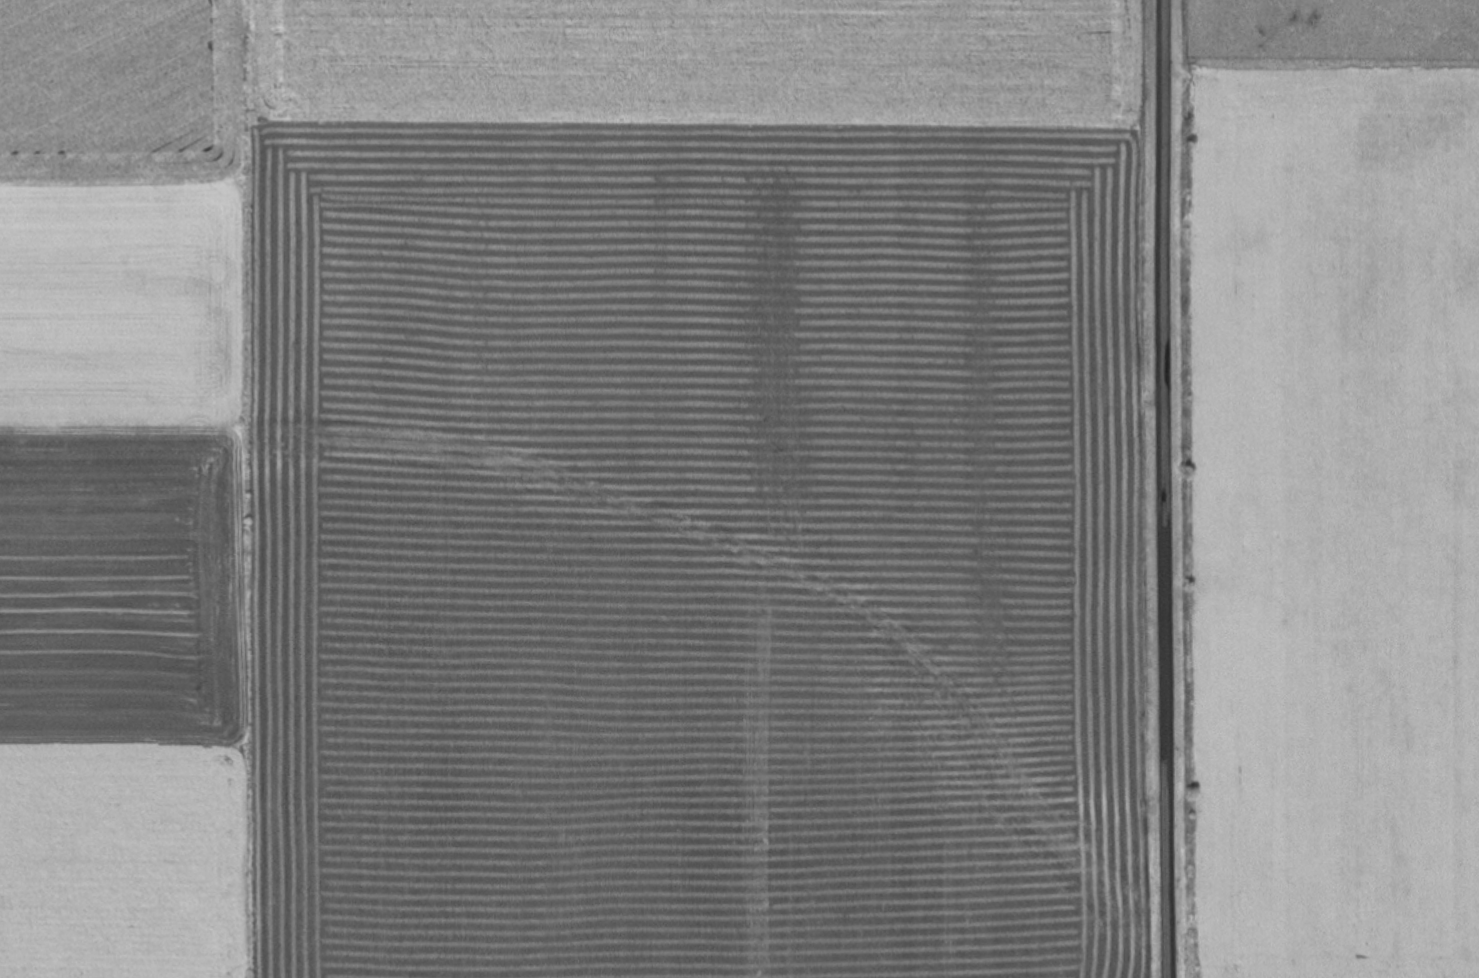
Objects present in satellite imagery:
road: (1163, 489)

